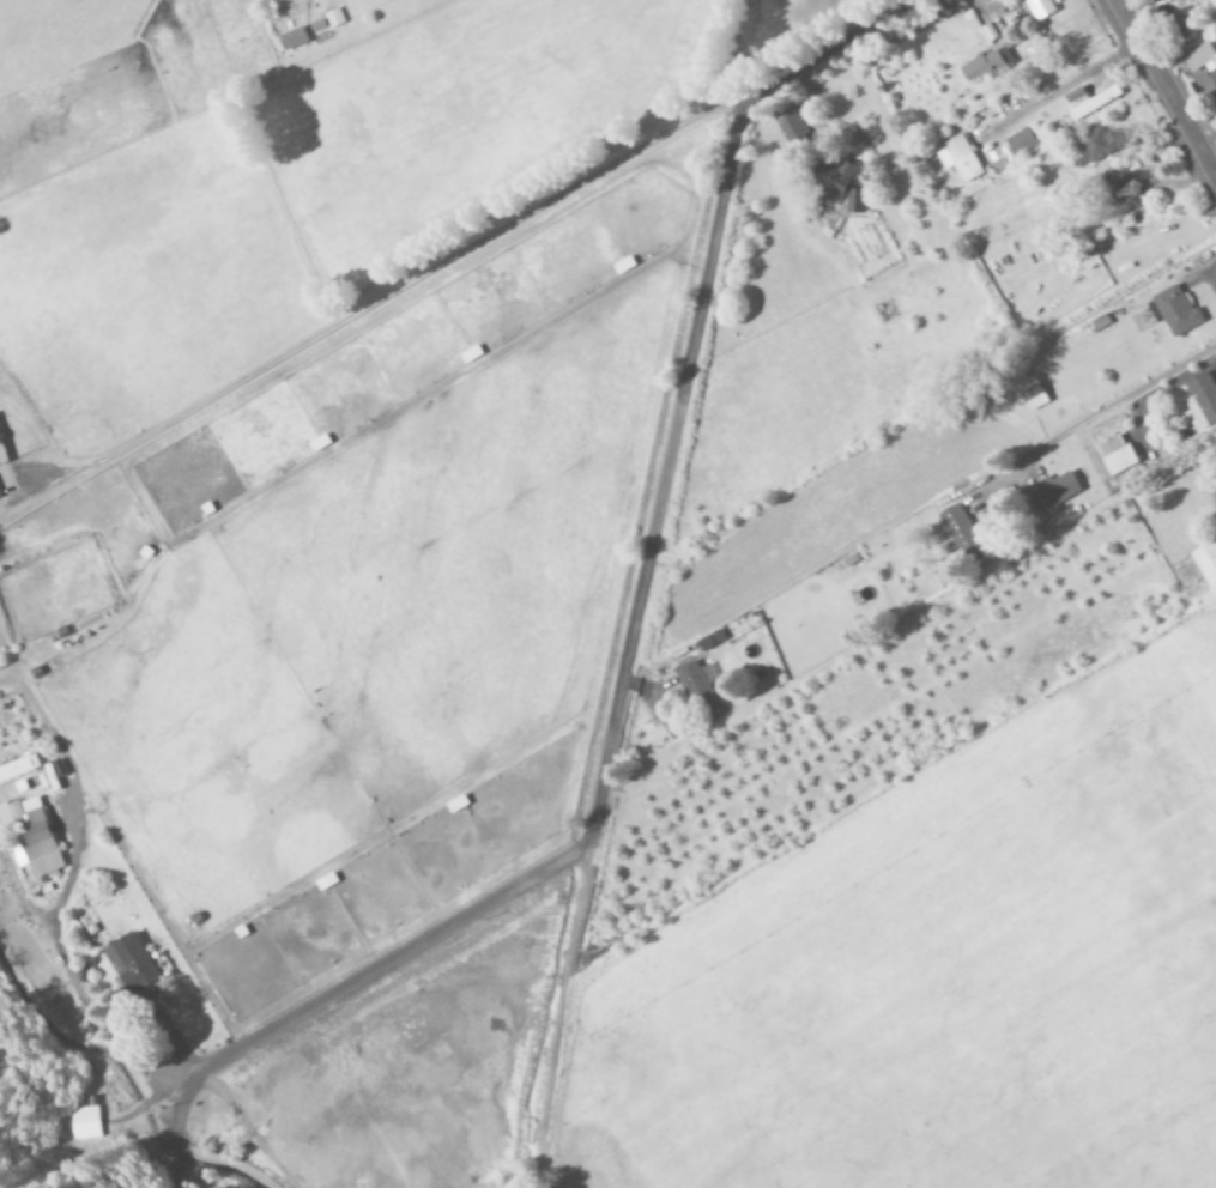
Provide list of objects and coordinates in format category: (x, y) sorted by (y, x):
building: (1184, 0)
building: (1039, 8)
building: (930, 16)
building: (990, 31)
building: (1196, 54)
building: (982, 66)
building: (1212, 78)
road: (1164, 89)
building: (1087, 102)
building: (1023, 140)
building: (956, 160)
building: (1113, 177)
building: (834, 186)
building: (1173, 311)
building: (1029, 394)
building: (1200, 400)
building: (2, 455)
building: (1112, 455)
building: (1046, 497)
building: (956, 532)
building: (1205, 562)
building: (713, 641)
road: (630, 650)
building: (697, 686)
building: (19, 768)
building: (34, 835)
building: (132, 964)
building: (84, 1123)

